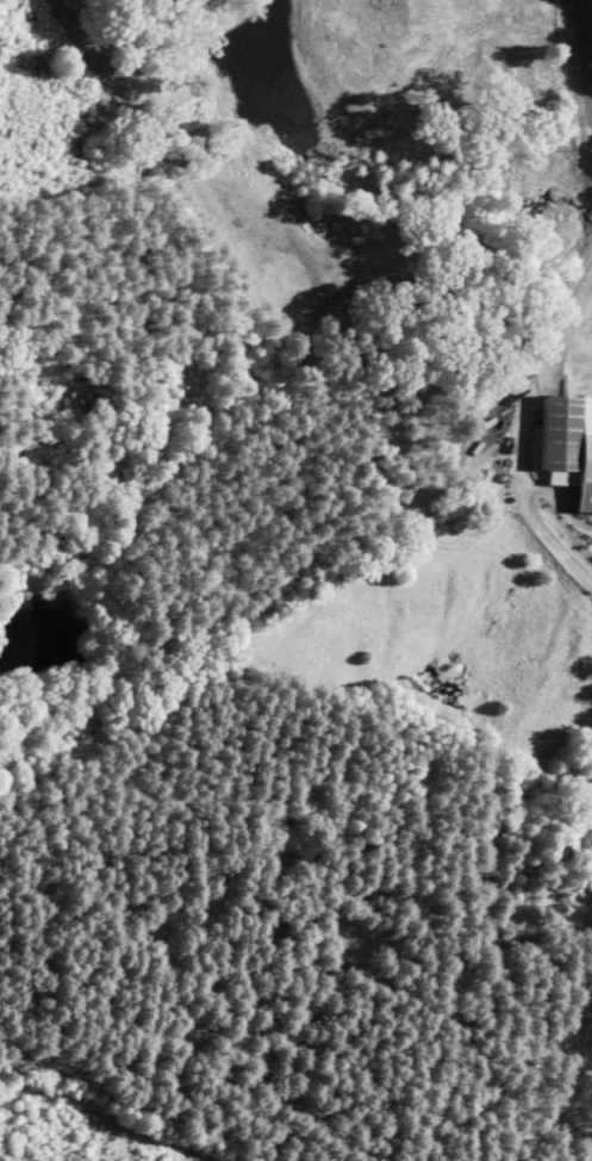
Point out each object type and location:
road: (579, 72)
building: (568, 441)

